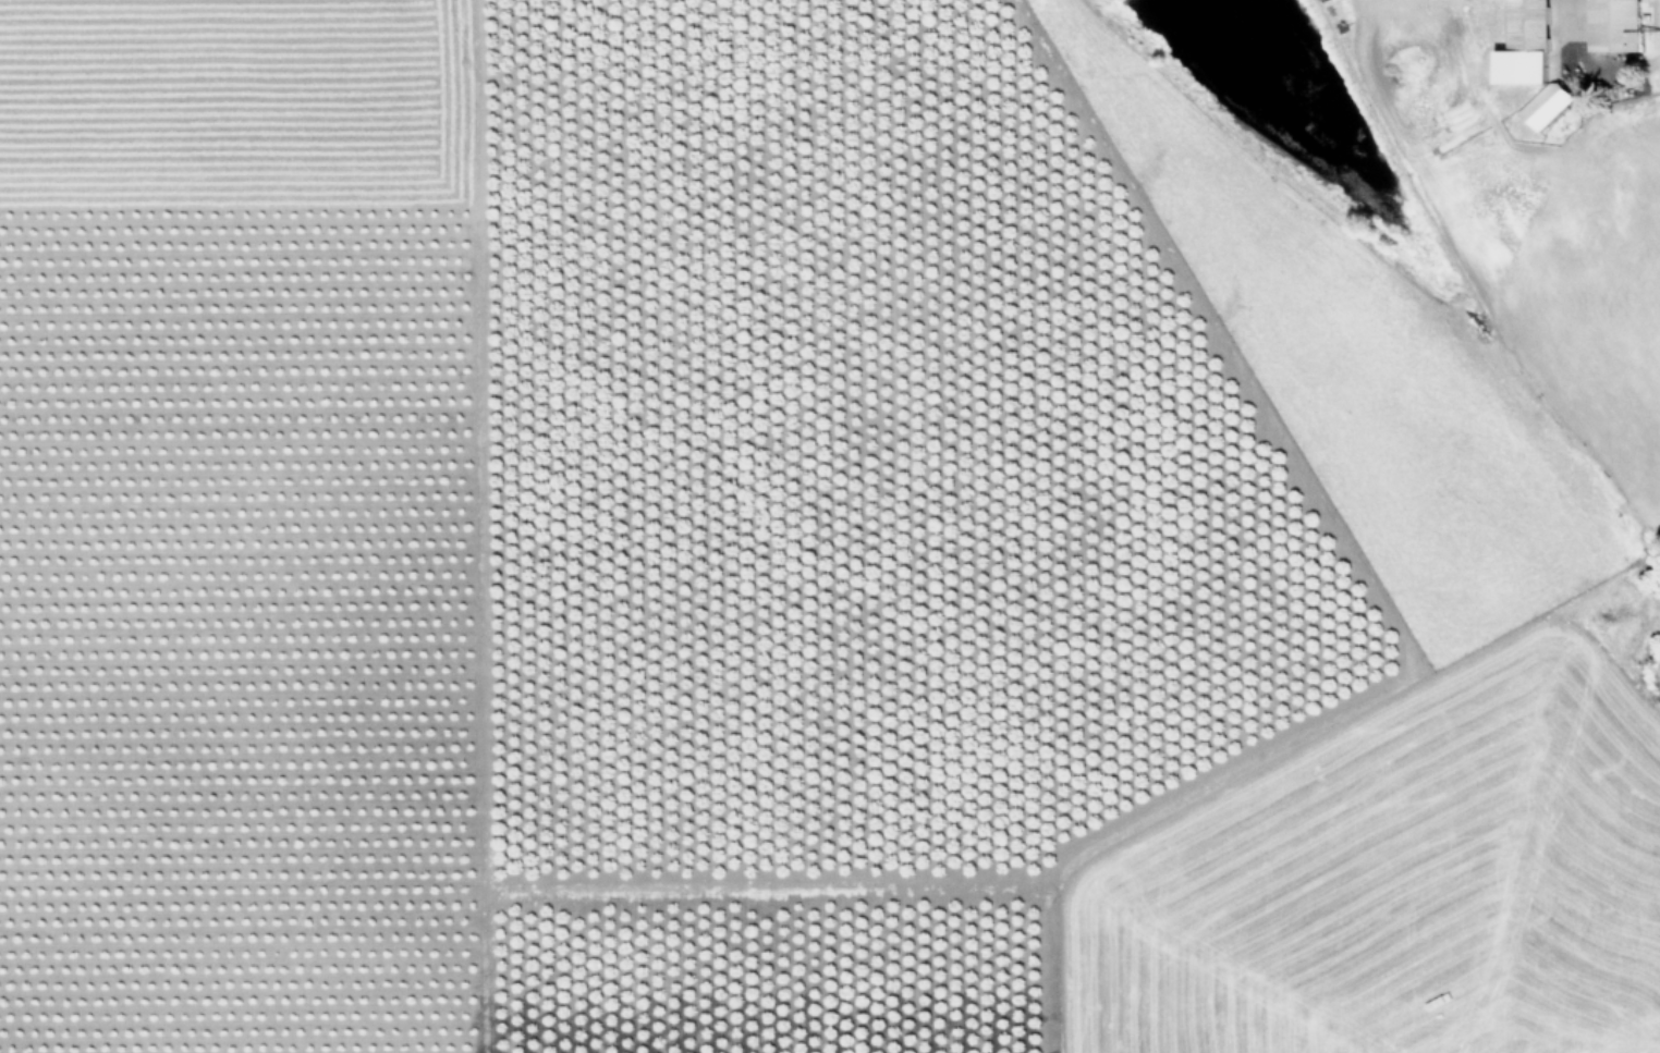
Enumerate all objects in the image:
building: (1531, 2)
building: (1616, 24)
building: (1555, 88)
crop: (830, 526)

